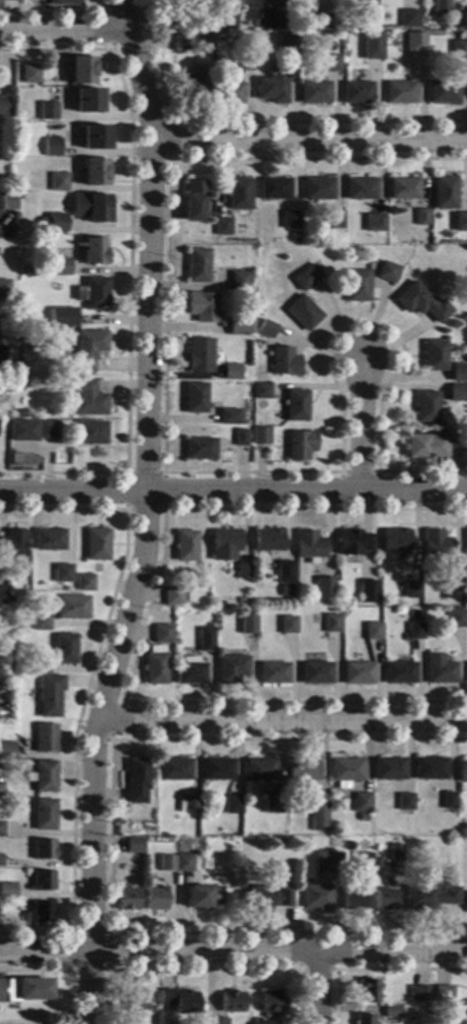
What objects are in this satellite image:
building: (12, 0)
building: (64, 2)
building: (440, 7)
building: (365, 8)
building: (226, 9)
road: (56, 13)
building: (408, 18)
building: (166, 19)
building: (464, 19)
building: (269, 21)
building: (316, 21)
building: (184, 24)
road: (106, 31)
road: (61, 32)
building: (459, 36)
building: (202, 39)
building: (342, 40)
building: (414, 42)
building: (180, 43)
building: (284, 44)
building: (370, 44)
building: (457, 48)
building: (247, 52)
building: (200, 56)
building: (245, 63)
building: (329, 63)
building: (82, 70)
building: (30, 74)
building: (189, 82)
building: (272, 86)
building: (356, 92)
building: (399, 92)
building: (442, 92)
building: (227, 93)
building: (313, 93)
building: (87, 101)
building: (3, 106)
building: (47, 111)
road: (253, 123)
road: (167, 124)
building: (95, 137)
road: (310, 140)
building: (52, 147)
building: (95, 171)
building: (58, 182)
building: (274, 189)
building: (317, 189)
building: (360, 189)
building: (402, 189)
building: (443, 193)
building: (238, 194)
building: (193, 201)
building: (7, 202)
building: (96, 208)
building: (420, 217)
building: (14, 218)
building: (332, 219)
building: (289, 221)
building: (373, 222)
building: (460, 222)
building: (52, 223)
building: (222, 226)
building: (94, 251)
building: (196, 265)
building: (61, 267)
road: (129, 267)
building: (24, 270)
building: (387, 272)
building: (306, 277)
building: (238, 281)
building: (356, 285)
building: (4, 288)
building: (96, 293)
building: (420, 303)
building: (201, 307)
building: (302, 313)
building: (59, 317)
building: (234, 327)
building: (265, 329)
building: (2, 338)
building: (88, 349)
building: (199, 356)
building: (433, 356)
building: (283, 361)
building: (231, 372)
building: (459, 375)
building: (261, 391)
building: (457, 394)
building: (87, 398)
building: (194, 398)
building: (295, 405)
building: (425, 406)
building: (23, 413)
building: (227, 418)
road: (359, 425)
building: (48, 430)
building: (23, 431)
building: (91, 433)
building: (260, 435)
building: (240, 438)
building: (300, 445)
building: (463, 445)
building: (424, 446)
building: (199, 449)
building: (457, 459)
road: (171, 472)
road: (358, 472)
road: (163, 473)
road: (233, 492)
road: (144, 513)
building: (49, 539)
building: (466, 539)
building: (267, 540)
building: (395, 540)
building: (353, 542)
building: (13, 544)
building: (97, 544)
building: (225, 544)
building: (436, 544)
building: (308, 545)
building: (185, 546)
building: (243, 570)
building: (284, 572)
building: (63, 573)
building: (328, 575)
building: (85, 583)
building: (326, 589)
building: (453, 590)
building: (367, 591)
building: (408, 591)
building: (4, 595)
building: (173, 596)
building: (73, 607)
building: (456, 619)
building: (248, 622)
building: (40, 623)
building: (0, 624)
building: (331, 624)
building: (287, 625)
road: (142, 627)
building: (372, 631)
building: (415, 631)
building: (162, 634)
building: (206, 639)
building: (65, 648)
building: (185, 651)
building: (155, 666)
building: (466, 666)
building: (40, 667)
building: (231, 669)
building: (189, 672)
building: (273, 673)
building: (316, 673)
building: (357, 673)
building: (399, 673)
building: (441, 673)
road: (86, 693)
building: (50, 695)
road: (283, 720)
building: (46, 738)
road: (111, 738)
building: (7, 751)
building: (389, 768)
building: (430, 768)
building: (174, 769)
building: (217, 769)
building: (259, 769)
building: (303, 771)
building: (345, 771)
building: (462, 771)
building: (44, 776)
building: (137, 780)
building: (1, 790)
building: (449, 800)
building: (405, 802)
building: (188, 804)
building: (272, 804)
building: (362, 804)
building: (233, 805)
building: (318, 812)
building: (44, 814)
building: (2, 829)
road: (109, 837)
building: (279, 843)
building: (134, 845)
building: (44, 849)
building: (395, 853)
building: (1, 860)
building: (327, 862)
building: (166, 863)
building: (186, 863)
building: (364, 866)
building: (154, 873)
building: (43, 880)
building: (8, 891)
building: (204, 897)
building: (430, 897)
building: (267, 898)
building: (317, 898)
building: (128, 899)
building: (156, 899)
building: (353, 899)
building: (384, 900)
building: (466, 904)
building: (41, 912)
road: (233, 953)
road: (299, 969)
road: (373, 969)
road: (62, 970)
road: (106, 970)
road: (203, 970)
road: (319, 988)
building: (25, 989)
building: (369, 990)
building: (418, 993)
building: (443, 994)
building: (179, 1000)
building: (272, 1000)
building: (135, 1001)
building: (232, 1001)
building: (391, 1012)
building: (364, 1019)
building: (214, 1020)
building: (267, 1023)

